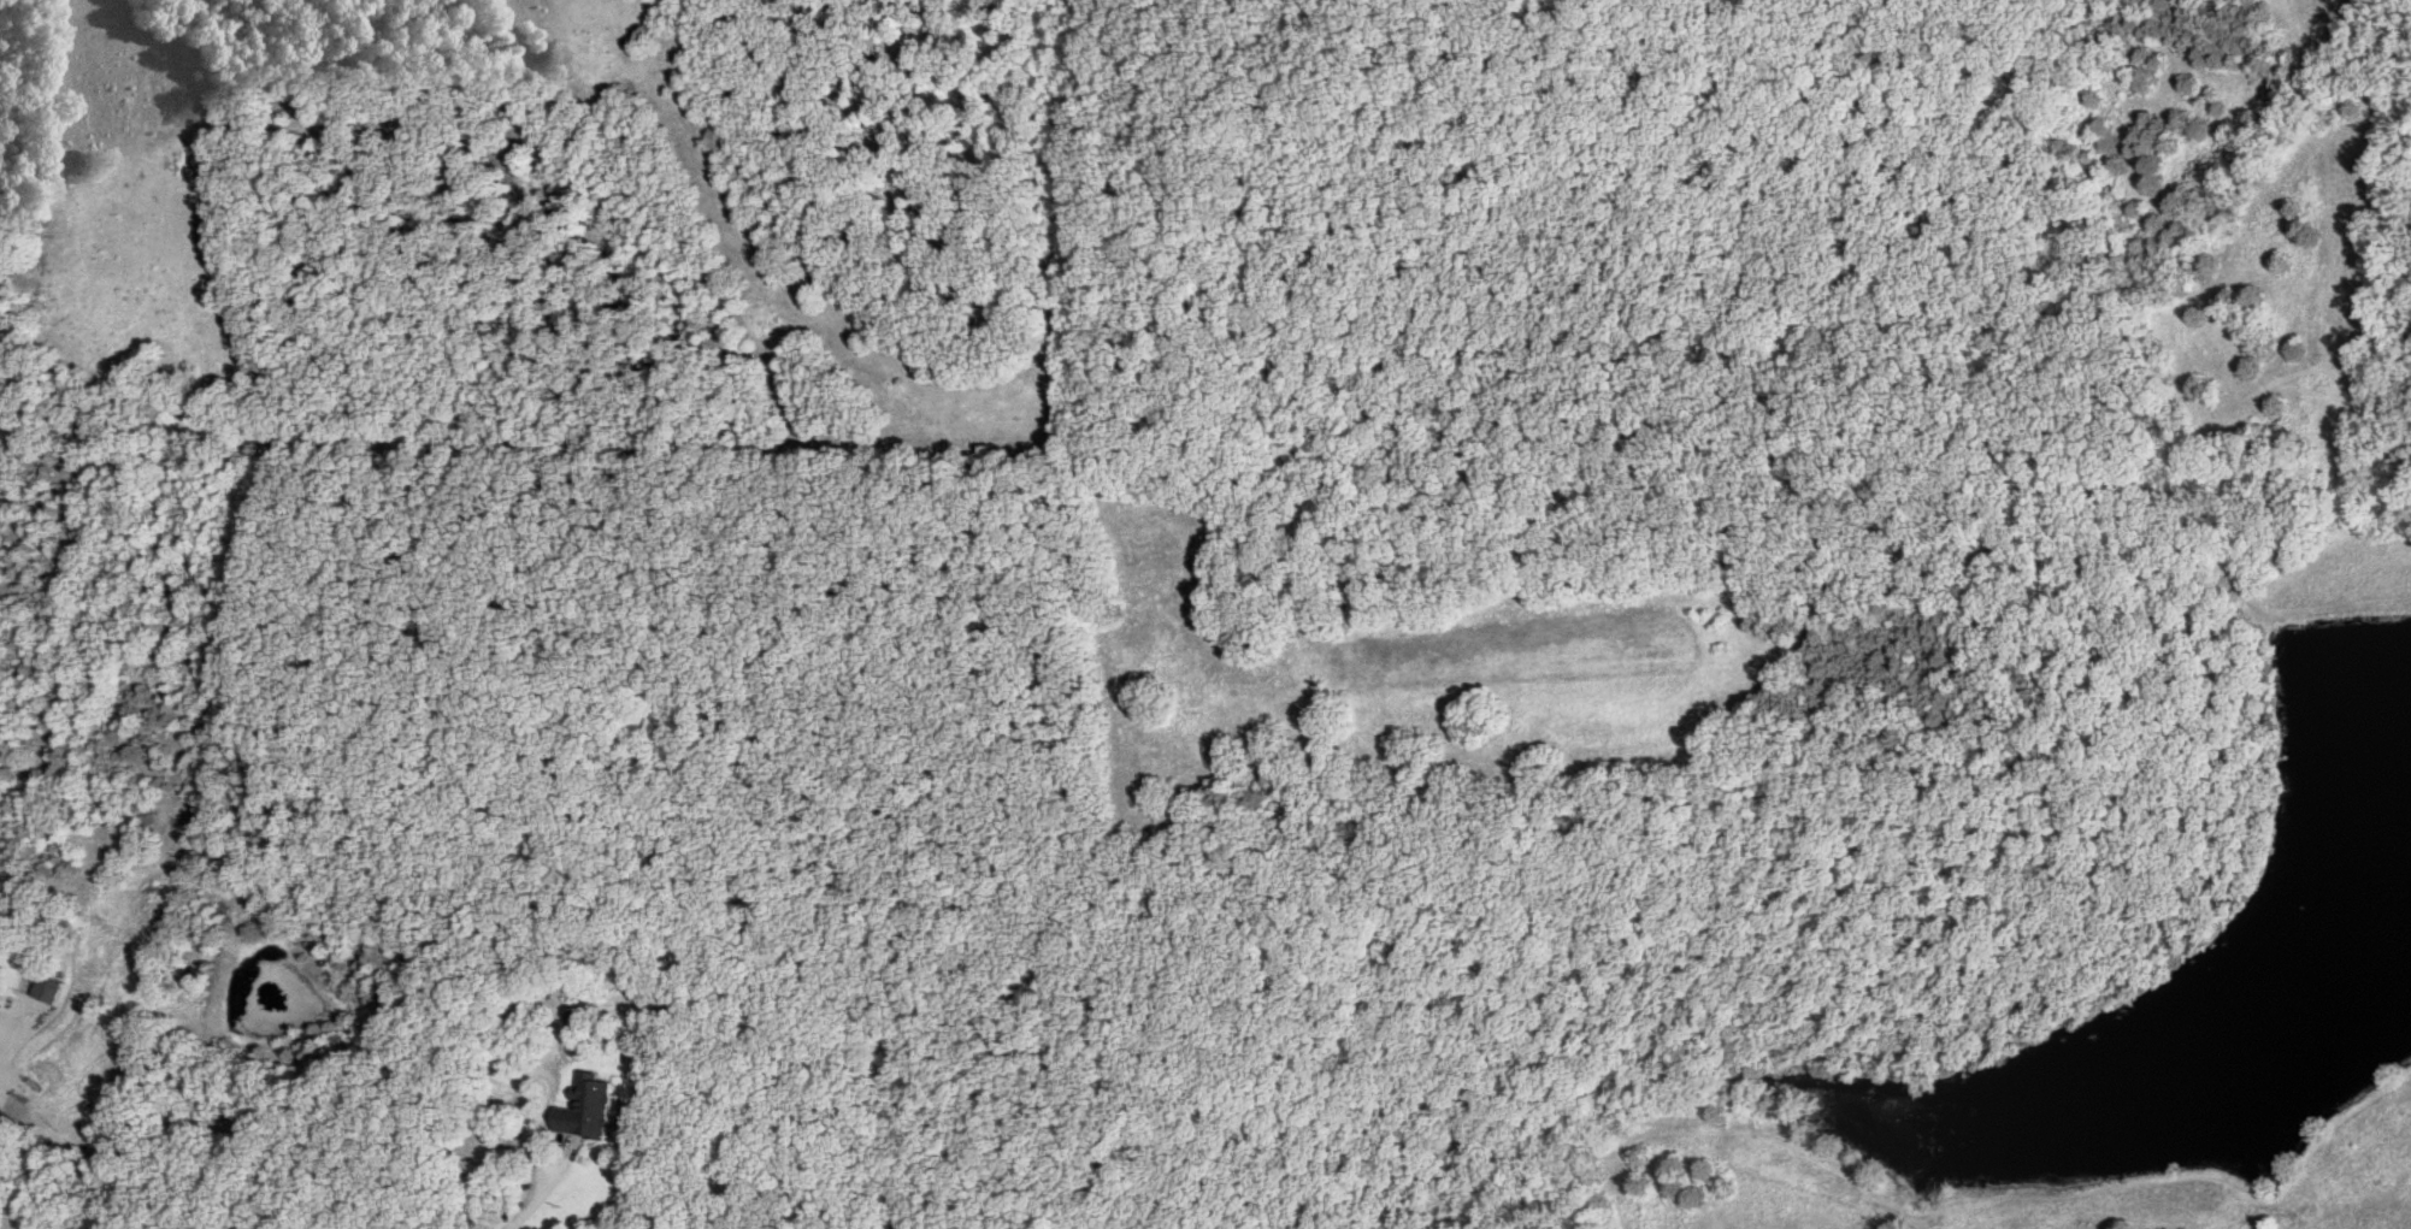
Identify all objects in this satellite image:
building: (40, 991)
building: (578, 1110)

